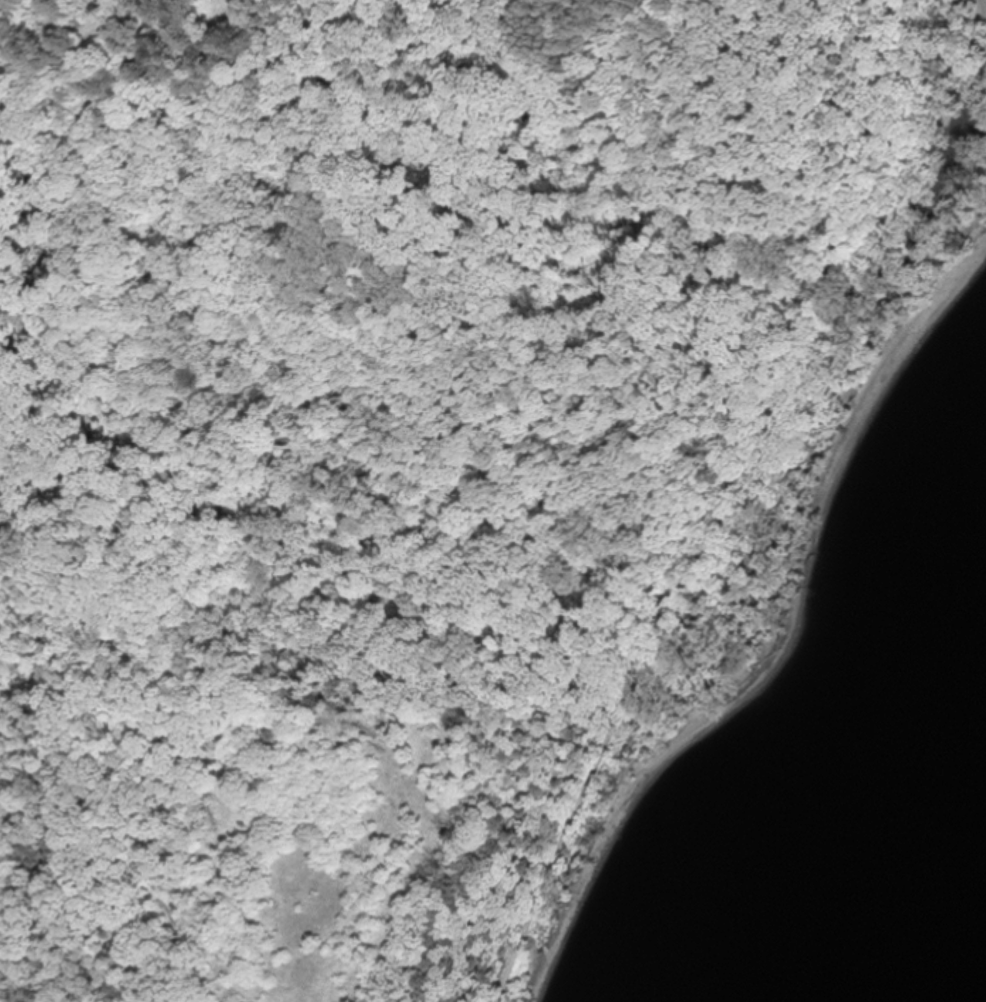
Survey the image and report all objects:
road: (40, 90)
road: (560, 133)
road: (300, 332)
road: (780, 404)
park: (425, 451)
road: (671, 605)
road: (568, 815)
road: (133, 854)

